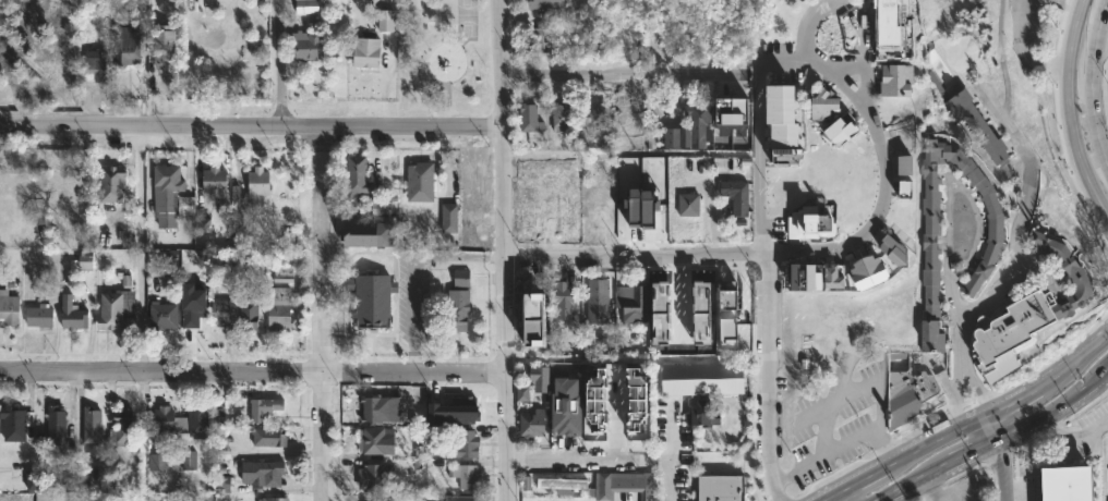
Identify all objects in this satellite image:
building: (1040, 1)
building: (547, 4)
building: (308, 7)
road: (847, 12)
building: (385, 20)
building: (889, 26)
building: (581, 30)
building: (542, 39)
building: (128, 42)
building: (304, 46)
building: (164, 47)
road: (1020, 50)
building: (368, 56)
road: (791, 59)
road: (1100, 59)
building: (96, 63)
road: (278, 63)
road: (621, 73)
road: (860, 73)
building: (899, 78)
road: (845, 83)
road: (1094, 93)
road: (1061, 101)
building: (824, 105)
building: (735, 113)
building: (599, 115)
building: (530, 118)
building: (562, 118)
building: (629, 118)
building: (782, 123)
road: (251, 126)
building: (691, 129)
building: (841, 130)
building: (978, 130)
building: (641, 138)
road: (761, 157)
building: (903, 166)
building: (359, 175)
building: (475, 181)
building: (421, 182)
building: (112, 183)
road: (948, 185)
building: (257, 187)
building: (217, 188)
building: (170, 190)
building: (643, 194)
building: (737, 195)
building: (689, 205)
road: (1103, 206)
building: (237, 208)
building: (603, 212)
road: (875, 218)
building: (450, 219)
building: (369, 235)
building: (993, 245)
road: (505, 249)
building: (892, 250)
road: (460, 255)
road: (1014, 257)
building: (169, 258)
building: (198, 258)
road: (636, 258)
building: (866, 270)
building: (832, 277)
building: (804, 278)
building: (599, 293)
building: (665, 295)
building: (696, 297)
building: (373, 301)
building: (565, 301)
building: (460, 302)
building: (533, 303)
building: (633, 304)
building: (9, 308)
building: (249, 308)
building: (279, 308)
building: (116, 309)
building: (179, 311)
building: (224, 313)
road: (320, 314)
road: (413, 314)
building: (1025, 314)
building: (72, 315)
building: (40, 317)
building: (727, 319)
building: (530, 347)
road: (253, 375)
building: (539, 378)
building: (703, 378)
road: (767, 378)
building: (521, 393)
building: (908, 396)
building: (264, 407)
building: (463, 408)
building: (382, 410)
road: (1052, 413)
building: (703, 414)
building: (599, 415)
building: (637, 416)
building: (165, 419)
building: (194, 421)
building: (564, 421)
building: (13, 423)
building: (93, 423)
road: (966, 424)
building: (533, 425)
building: (121, 426)
building: (56, 428)
road: (984, 430)
building: (270, 436)
road: (1074, 438)
building: (377, 439)
building: (468, 443)
road: (971, 453)
road: (670, 456)
building: (189, 460)
road: (571, 460)
building: (156, 462)
road: (1001, 469)
building: (263, 472)
building: (466, 475)
building: (375, 476)
building: (77, 481)
road: (915, 482)
building: (222, 484)
building: (559, 484)
building: (624, 485)
building: (1064, 485)
building: (721, 488)
road: (931, 488)
road: (842, 494)
building: (431, 497)
building: (156, 498)
building: (275, 498)
building: (376, 498)
building: (461, 498)

